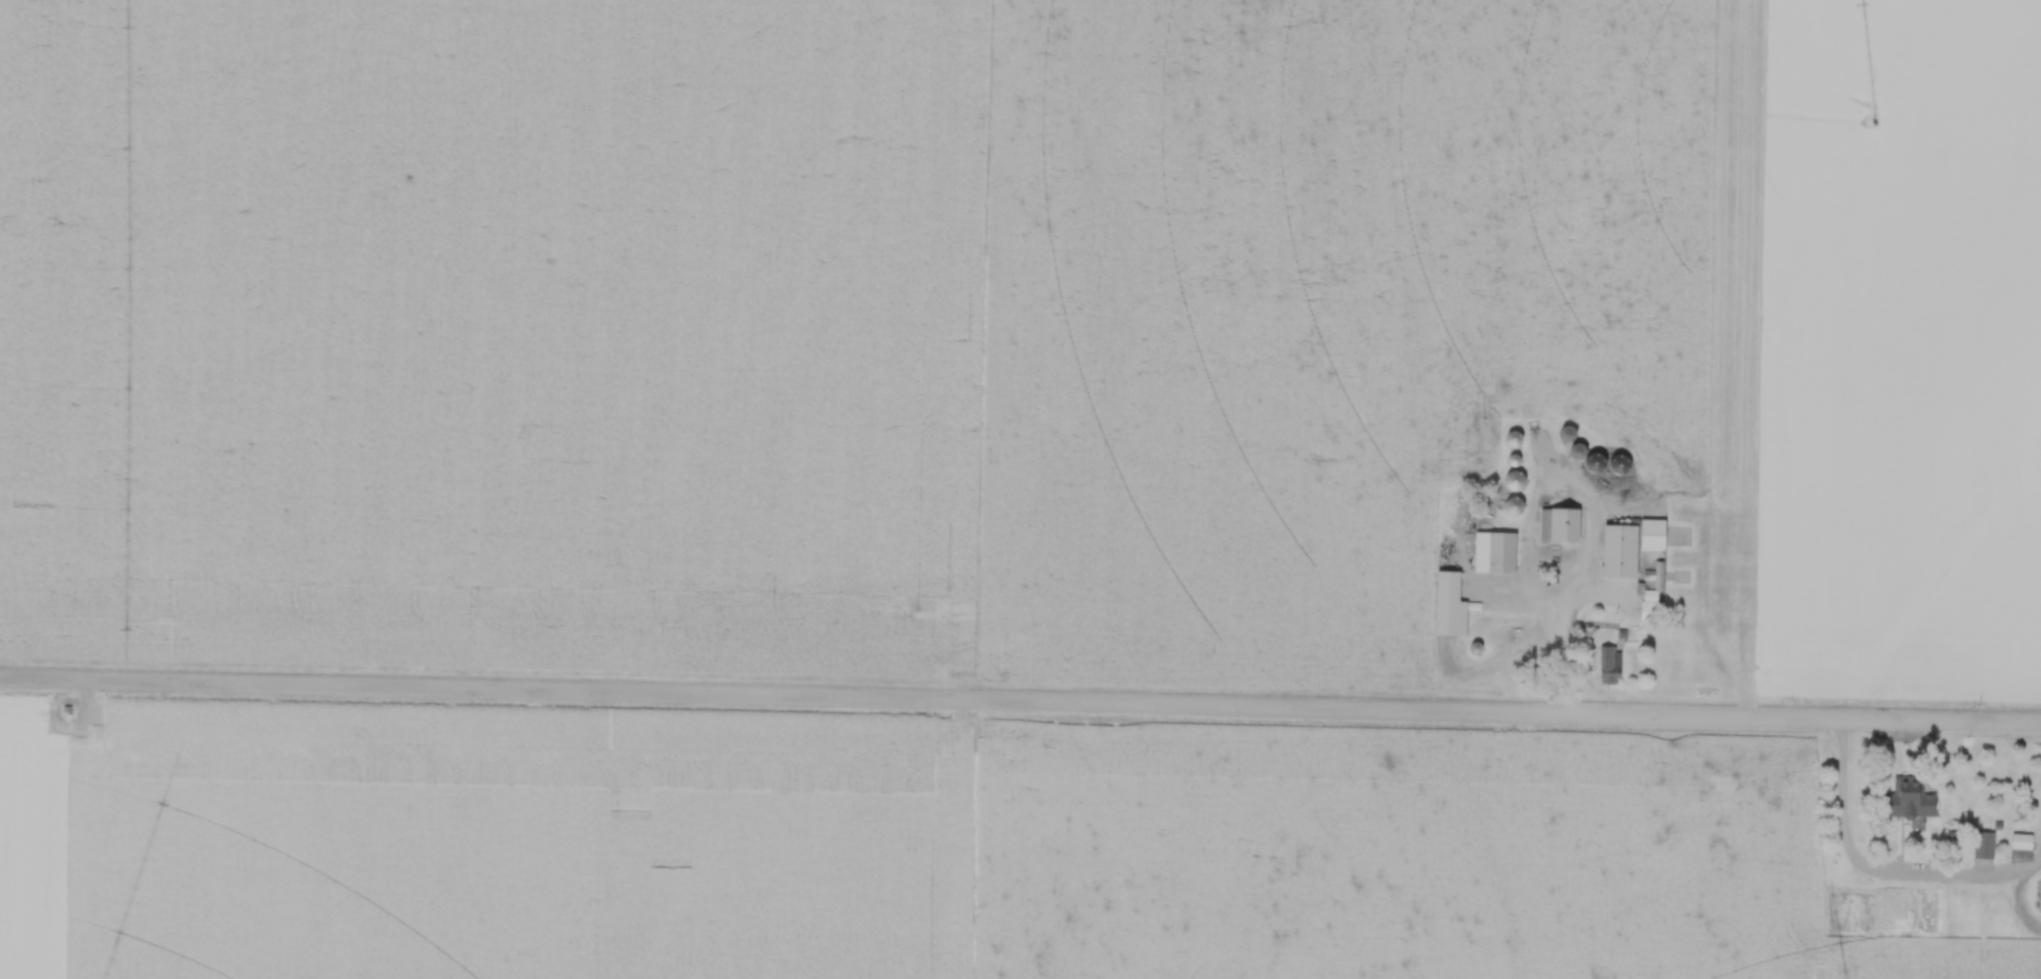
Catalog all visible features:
building: (1558, 525)
building: (1647, 535)
building: (1657, 575)
building: (1446, 603)
building: (1607, 665)
road: (1020, 701)
building: (1908, 800)
building: (2019, 841)
building: (1982, 845)

